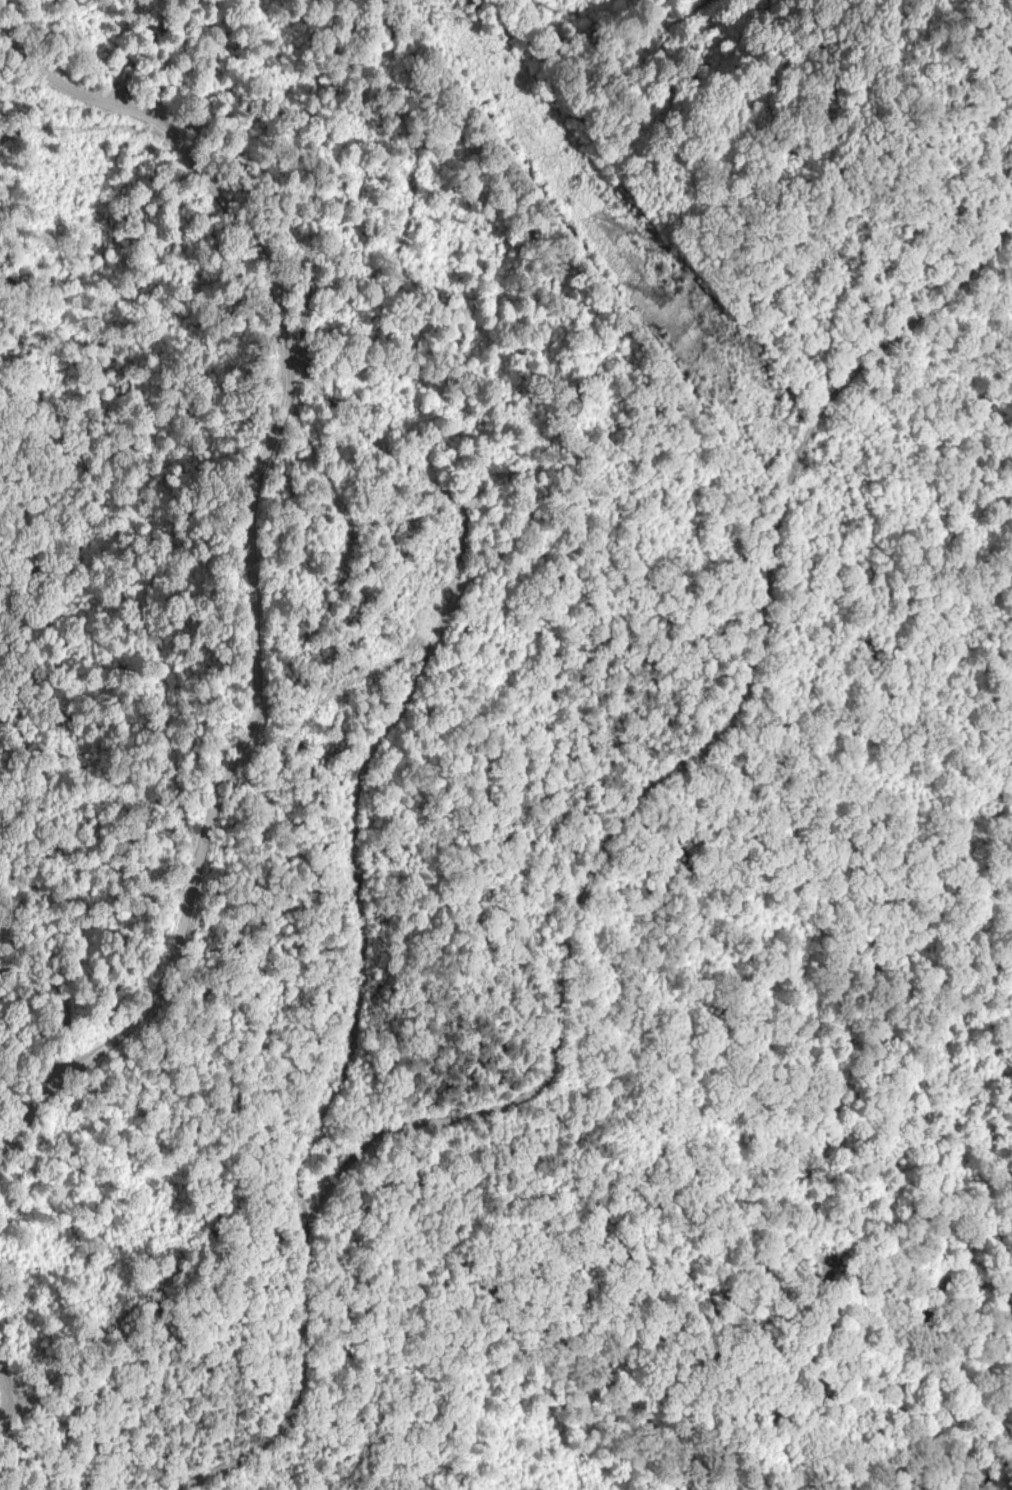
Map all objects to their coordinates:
road: (130, 187)
power tower: (673, 299)
road: (298, 804)
road: (34, 1282)

